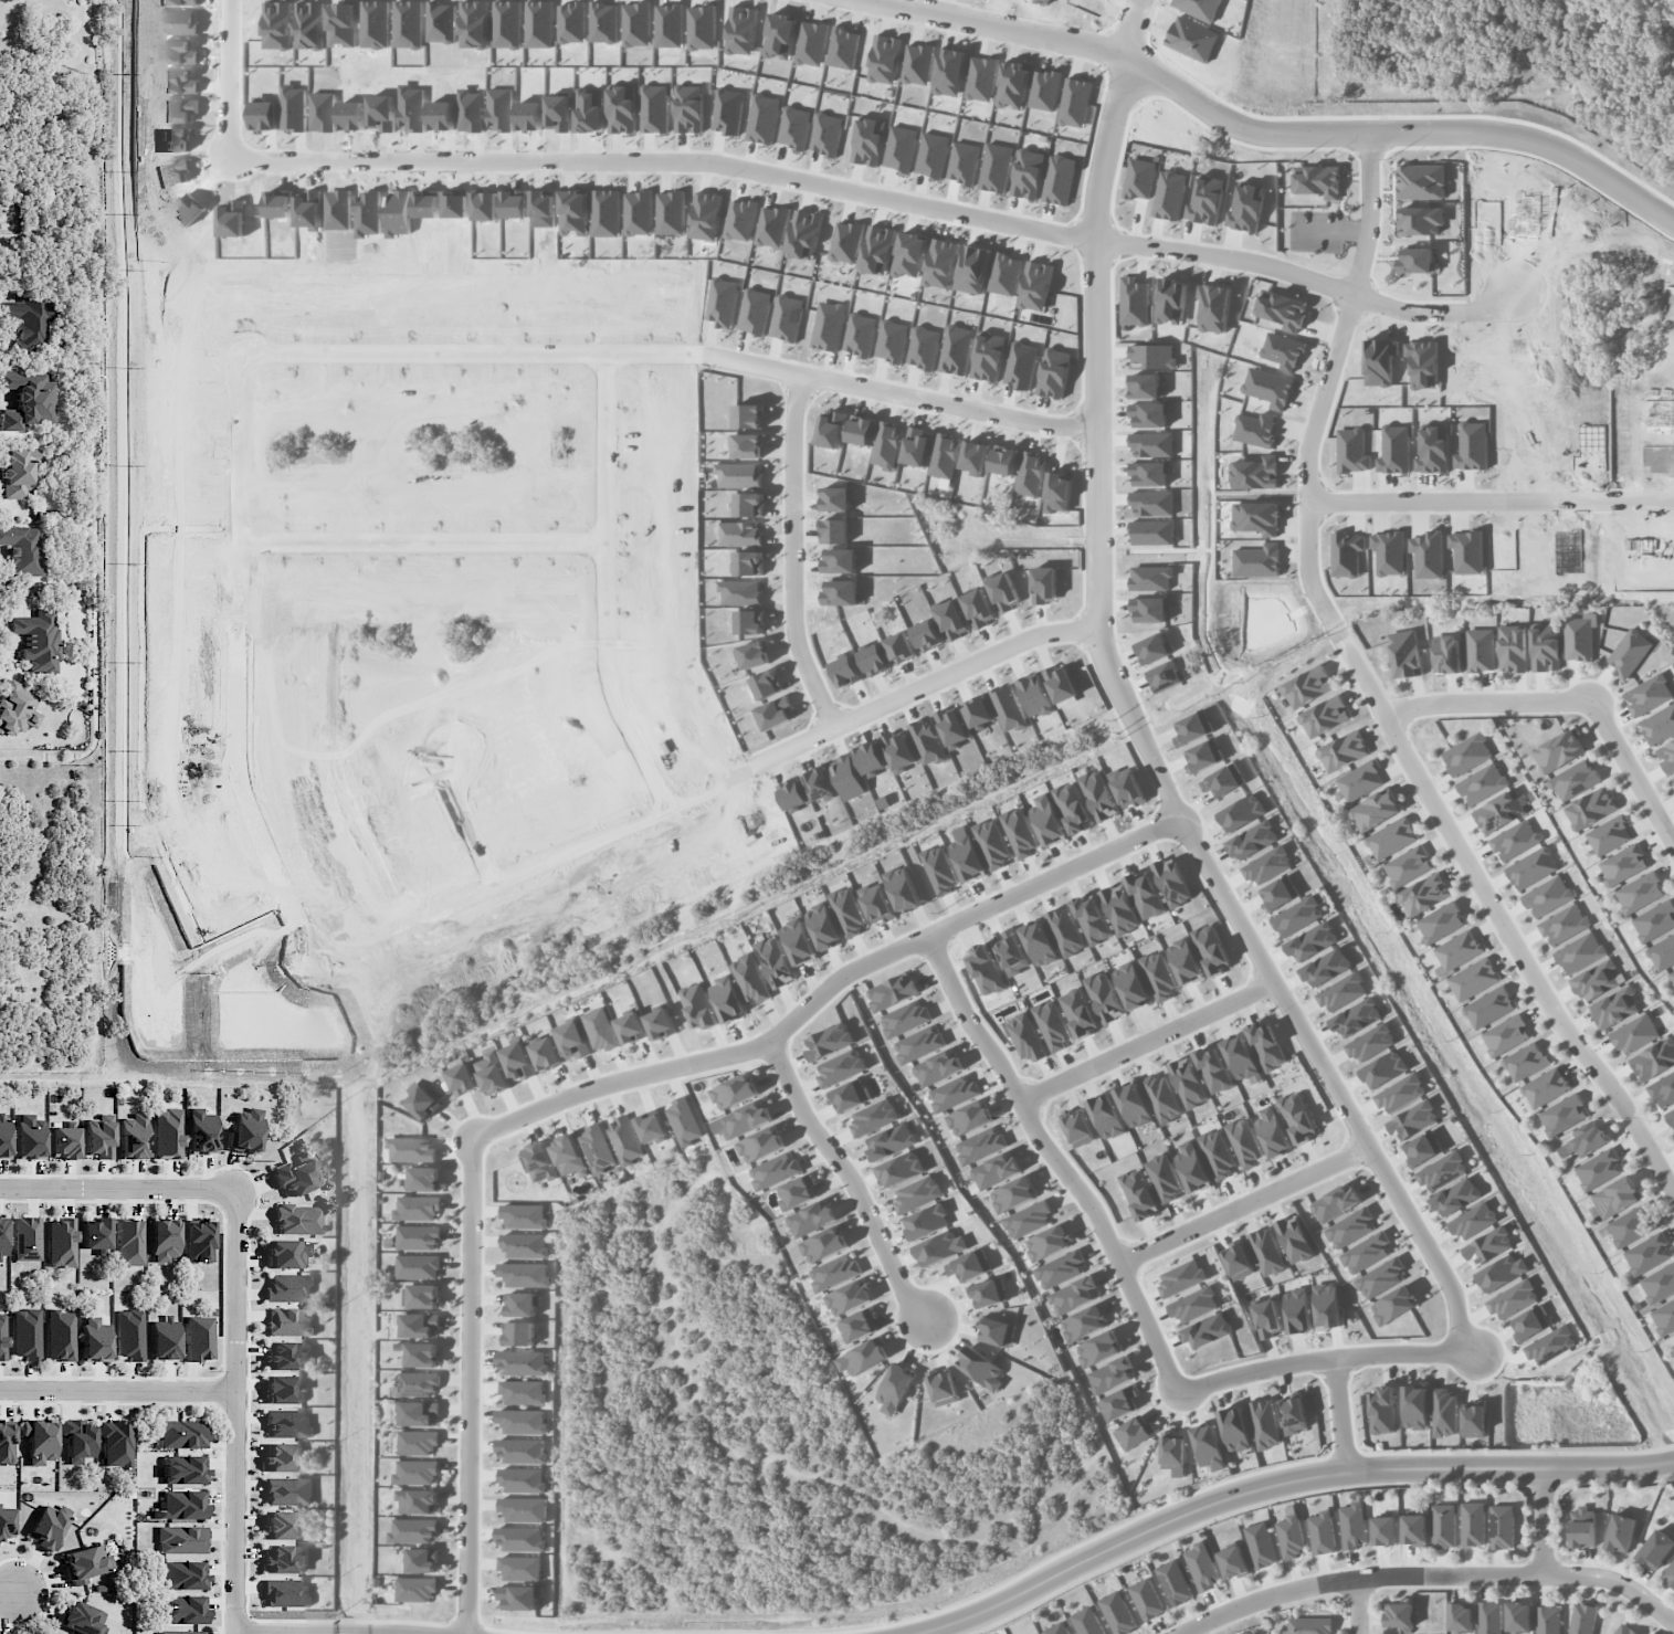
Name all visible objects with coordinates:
road: (993, 24)
road: (1140, 39)
road: (236, 84)
road: (1405, 136)
road: (671, 162)
road: (1312, 282)
building: (28, 321)
road: (525, 351)
road: (1335, 384)
building: (28, 399)
road: (955, 403)
road: (1099, 452)
building: (17, 472)
road: (1497, 507)
building: (22, 549)
road: (674, 552)
road: (800, 558)
road: (465, 571)
building: (1580, 636)
building: (36, 640)
building: (1545, 647)
building: (1513, 649)
building: (1481, 650)
building: (1446, 653)
building: (1630, 653)
building: (1405, 654)
road: (975, 664)
building: (1307, 686)
building: (1647, 695)
road: (1488, 703)
building: (17, 709)
building: (1324, 716)
building: (1659, 725)
building: (1343, 751)
building: (1559, 751)
building: (1466, 753)
building: (1666, 755)
road: (1633, 769)
building: (1673, 779)
building: (1576, 780)
building: (1360, 781)
building: (1482, 783)
building: (1098, 795)
building: (1072, 807)
building: (1591, 808)
building: (1375, 810)
building: (1501, 811)
building: (1235, 813)
building: (1046, 821)
building: (1019, 832)
building: (1610, 835)
building: (1391, 837)
building: (1253, 840)
building: (1515, 840)
building: (991, 843)
building: (967, 858)
building: (1624, 864)
building: (1266, 865)
building: (1408, 866)
building: (1531, 867)
building: (939, 869)
building: (1172, 882)
building: (902, 888)
building: (1641, 893)
building: (1145, 894)
building: (1277, 894)
building: (1424, 894)
building: (1547, 896)
building: (876, 903)
building: (1119, 909)
building: (847, 911)
building: (1297, 916)
road: (1499, 916)
building: (1092, 919)
building: (1655, 921)
building: (1441, 923)
building: (1564, 925)
building: (822, 926)
building: (1065, 931)
building: (798, 941)
building: (1312, 941)
building: (1039, 943)
building: (1210, 949)
building: (1457, 950)
building: (1012, 952)
building: (1579, 952)
building: (1663, 952)
building: (775, 961)
building: (1185, 961)
building: (1326, 967)
building: (986, 970)
building: (1158, 976)
building: (1672, 977)
building: (750, 978)
building: (1473, 979)
building: (1598, 980)
building: (1130, 984)
road: (830, 985)
building: (892, 991)
building: (1341, 992)
building: (1104, 997)
building: (727, 999)
building: (698, 1006)
building: (1489, 1006)
building: (1614, 1008)
building: (1078, 1012)
building: (1357, 1018)
building: (905, 1019)
building: (661, 1023)
building: (1052, 1024)
building: (630, 1027)
building: (599, 1029)
building: (1634, 1034)
building: (1506, 1035)
building: (1025, 1036)
building: (572, 1040)
building: (829, 1041)
road: (1147, 1042)
building: (1371, 1043)
building: (918, 1044)
building: (1266, 1045)
building: (546, 1053)
building: (1240, 1057)
building: (1654, 1060)
building: (517, 1061)
building: (1525, 1061)
building: (841, 1067)
building: (937, 1068)
building: (1213, 1069)
building: (1382, 1069)
building: (492, 1073)
building: (462, 1079)
road: (1334, 1080)
building: (1187, 1083)
building: (1546, 1087)
building: (1663, 1089)
building: (735, 1092)
building: (954, 1093)
building: (1400, 1093)
building: (849, 1095)
building: (1161, 1097)
building: (422, 1100)
building: (1134, 1105)
building: (1562, 1115)
building: (1106, 1116)
building: (1671, 1116)
building: (874, 1117)
building: (1297, 1117)
building: (968, 1118)
building: (747, 1119)
building: (1413, 1120)
building: (684, 1121)
building: (652, 1127)
building: (1078, 1128)
building: (245, 1130)
building: (200, 1131)
building: (1272, 1131)
building: (3, 1134)
building: (167, 1134)
building: (29, 1136)
building: (133, 1137)
building: (98, 1138)
building: (1588, 1138)
building: (625, 1140)
building: (892, 1141)
building: (63, 1142)
building: (1244, 1142)
building: (760, 1145)
building: (980, 1145)
building: (598, 1148)
building: (412, 1149)
building: (1421, 1149)
building: (1218, 1153)
building: (568, 1155)
road: (1056, 1160)
building: (539, 1161)
building: (1192, 1168)
building: (901, 1169)
building: (1599, 1169)
building: (775, 1170)
building: (1442, 1170)
building: (994, 1171)
building: (296, 1173)
building: (1164, 1178)
building: (424, 1179)
road: (850, 1180)
building: (796, 1193)
building: (917, 1193)
building: (1012, 1194)
building: (1139, 1194)
building: (1455, 1196)
building: (1615, 1196)
building: (1335, 1203)
road: (1246, 1204)
building: (418, 1208)
building: (524, 1216)
building: (811, 1217)
building: (297, 1219)
building: (1028, 1219)
building: (1473, 1221)
building: (927, 1222)
building: (1630, 1225)
building: (1350, 1227)
building: (94, 1235)
building: (2, 1237)
building: (419, 1237)
building: (25, 1238)
building: (1294, 1238)
building: (162, 1240)
building: (128, 1242)
building: (197, 1242)
building: (60, 1243)
building: (1047, 1243)
building: (823, 1244)
building: (525, 1245)
building: (1488, 1246)
building: (940, 1247)
building: (1266, 1252)
building: (1366, 1253)
building: (1647, 1253)
building: (286, 1254)
building: (1238, 1261)
building: (969, 1265)
building: (418, 1266)
building: (1060, 1269)
building: (834, 1272)
building: (1502, 1273)
building: (524, 1274)
building: (1380, 1277)
building: (1181, 1278)
building: (1657, 1284)
building: (288, 1288)
road: (234, 1293)
building: (988, 1293)
building: (1074, 1295)
building: (421, 1296)
building: (847, 1298)
building: (1513, 1298)
building: (520, 1304)
building: (1193, 1305)
building: (1393, 1305)
building: (1327, 1306)
building: (1664, 1316)
building: (1267, 1318)
building: (289, 1321)
building: (1530, 1322)
building: (1083, 1324)
building: (421, 1325)
building: (857, 1326)
building: (996, 1331)
building: (1208, 1331)
building: (25, 1333)
building: (128, 1333)
building: (519, 1333)
building: (60, 1335)
building: (2, 1337)
building: (198, 1338)
building: (94, 1339)
building: (162, 1339)
building: (1550, 1345)
building: (1673, 1346)
building: (422, 1354)
building: (286, 1356)
building: (862, 1358)
road: (1318, 1360)
building: (523, 1362)
building: (981, 1368)
building: (419, 1383)
road: (473, 1384)
road: (117, 1385)
building: (943, 1387)
building: (286, 1389)
building: (895, 1389)
building: (524, 1392)
building: (1415, 1408)
building: (1382, 1410)
building: (1444, 1412)
building: (419, 1413)
building: (1293, 1415)
road: (1340, 1415)
building: (523, 1421)
building: (1474, 1421)
building: (287, 1423)
building: (1264, 1424)
building: (1234, 1430)
building: (1131, 1433)
building: (180, 1434)
building: (39, 1440)
building: (76, 1440)
building: (419, 1442)
building: (6, 1443)
building: (116, 1444)
building: (1209, 1446)
building: (522, 1451)
building: (1173, 1453)
building: (284, 1457)
building: (183, 1469)
building: (417, 1472)
building: (523, 1480)
road: (1280, 1483)
building: (288, 1490)
building: (419, 1500)
building: (178, 1505)
building: (524, 1509)
building: (6, 1522)
building: (1473, 1524)
road: (1544, 1524)
building: (284, 1525)
building: (1352, 1525)
building: (1443, 1526)
building: (1502, 1526)
building: (46, 1527)
building: (1582, 1527)
building: (1414, 1529)
building: (414, 1530)
building: (1383, 1531)
building: (1322, 1532)
building: (1620, 1533)
building: (1291, 1535)
building: (520, 1538)
building: (180, 1540)
building: (1260, 1545)
building: (1656, 1549)
building: (285, 1559)
building: (422, 1560)
building: (1233, 1562)
building: (85, 1563)
building: (1202, 1566)
building: (520, 1568)
building: (182, 1574)
building: (1668, 1574)
road: (1434, 1578)
building: (1173, 1582)
building: (417, 1589)
road: (4, 1591)
building: (287, 1593)
building: (518, 1596)
building: (1147, 1599)
road: (1358, 1607)
building: (181, 1610)
building: (1117, 1613)
building: (1400, 1614)
building: (1518, 1616)
building: (81, 1617)
building: (1460, 1617)
building: (1489, 1617)
building: (1582, 1619)
building: (1548, 1620)
building: (1086, 1622)
building: (1309, 1625)
building: (1057, 1628)
building: (1623, 1630)
building: (178, 1632)

